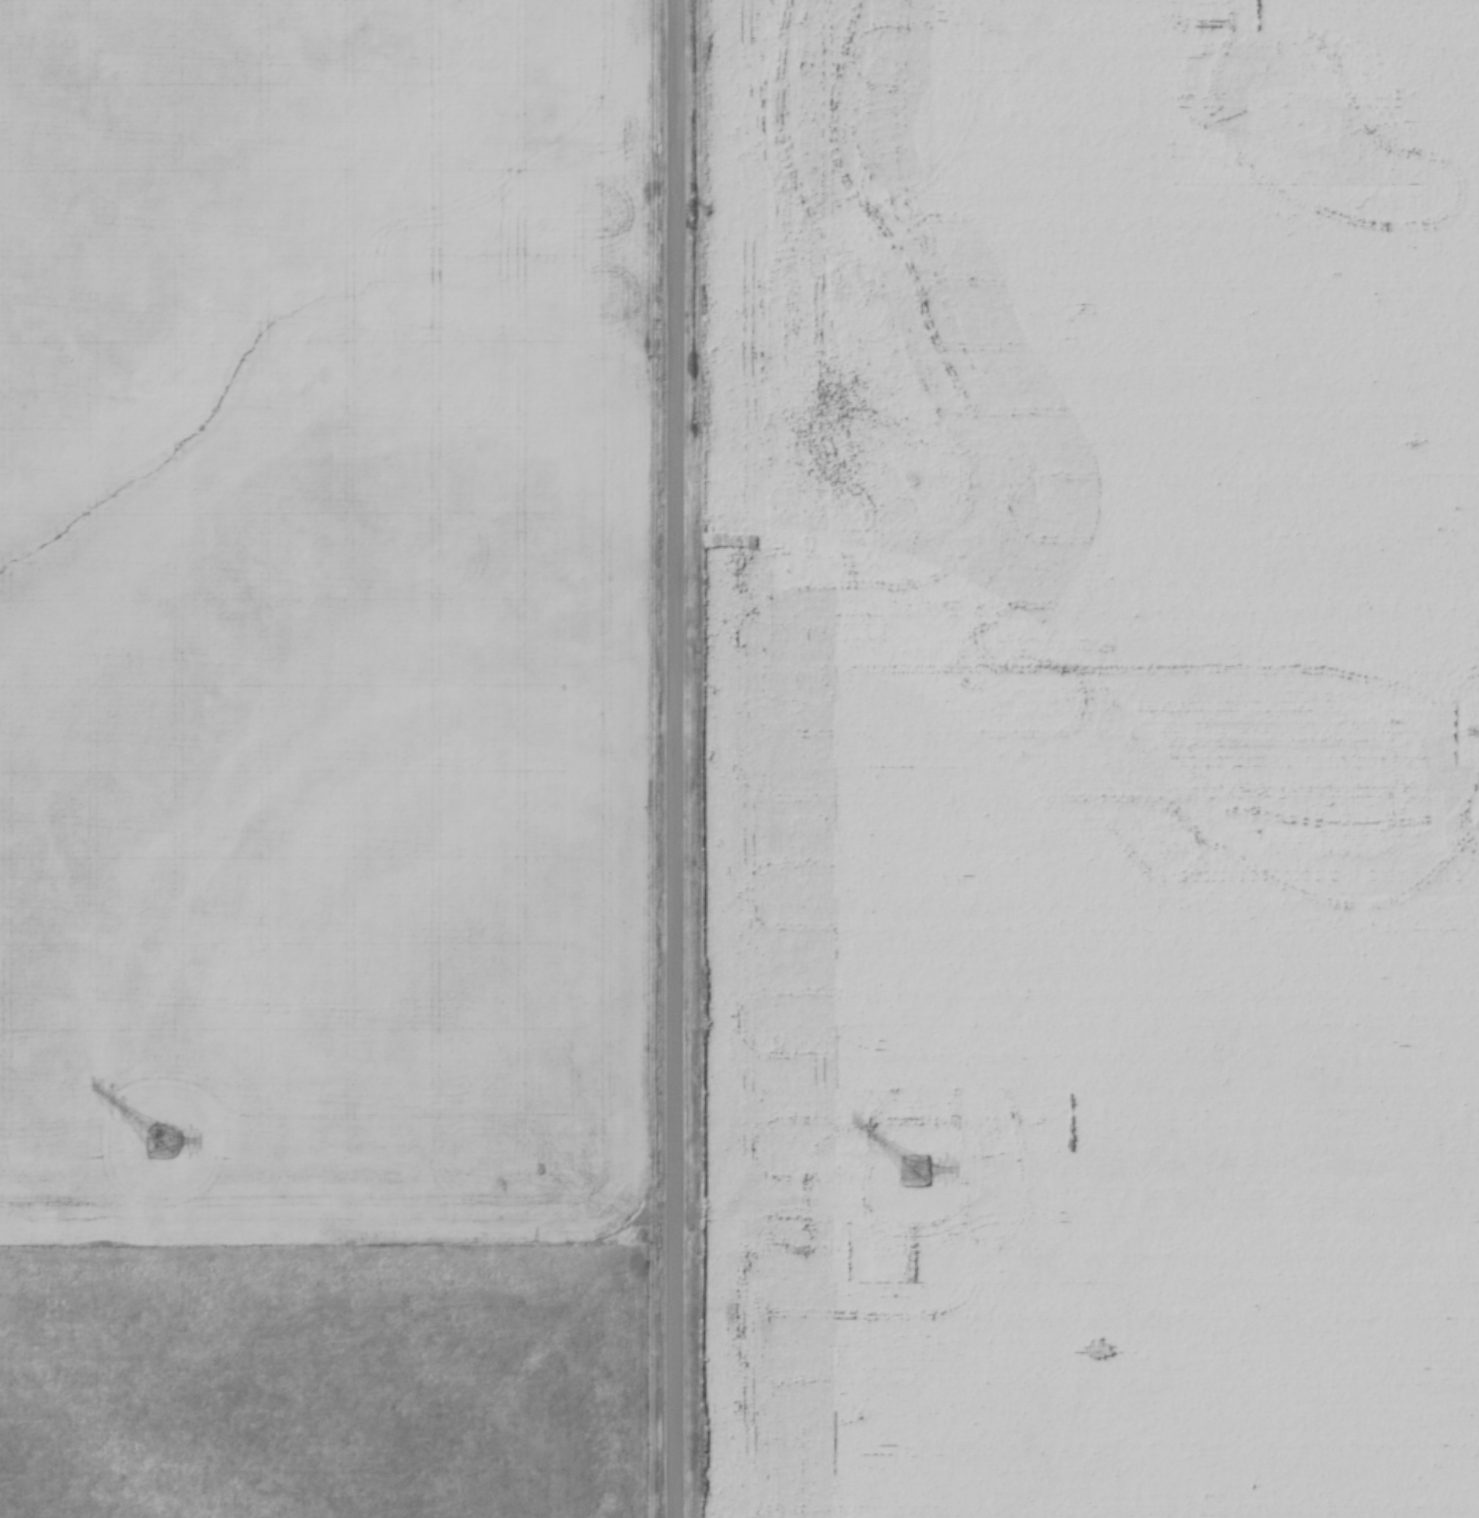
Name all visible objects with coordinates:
road: (673, 758)
power tower: (160, 1140)
power tower: (912, 1168)

